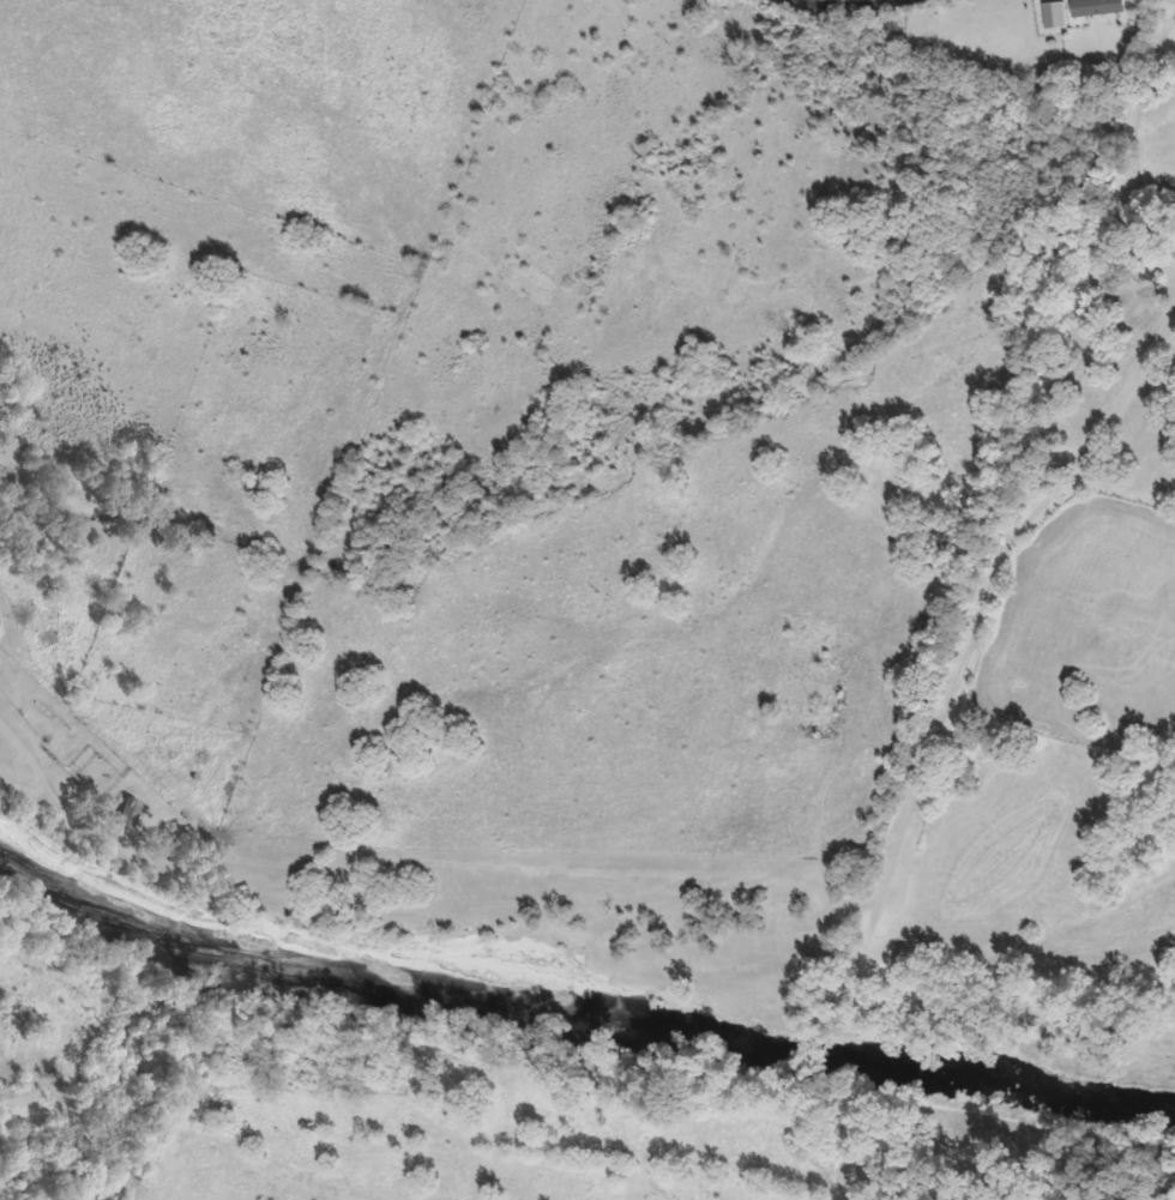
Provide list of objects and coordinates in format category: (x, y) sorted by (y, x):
building: (1092, 7)
road: (851, 11)
building: (1050, 14)
road: (1141, 59)
road: (35, 770)
building: (122, 812)

